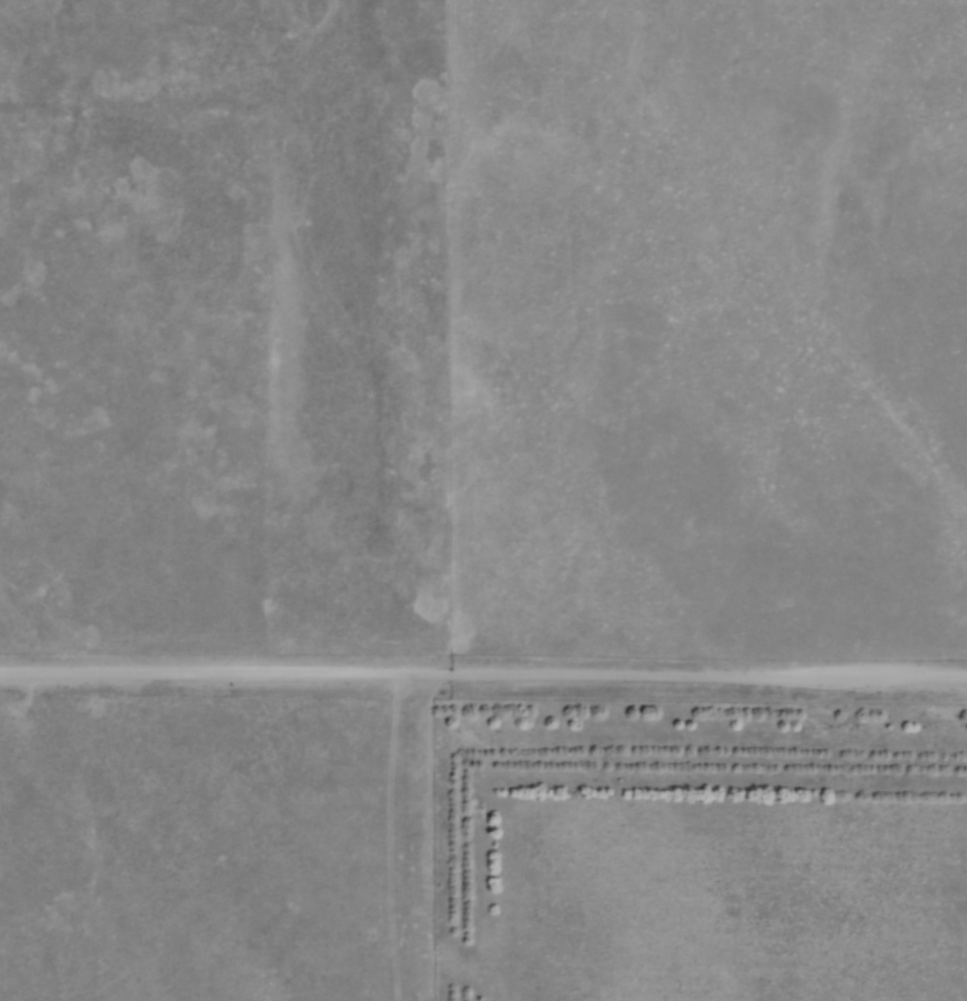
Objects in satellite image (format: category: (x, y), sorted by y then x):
road: (483, 673)
crop: (731, 899)

